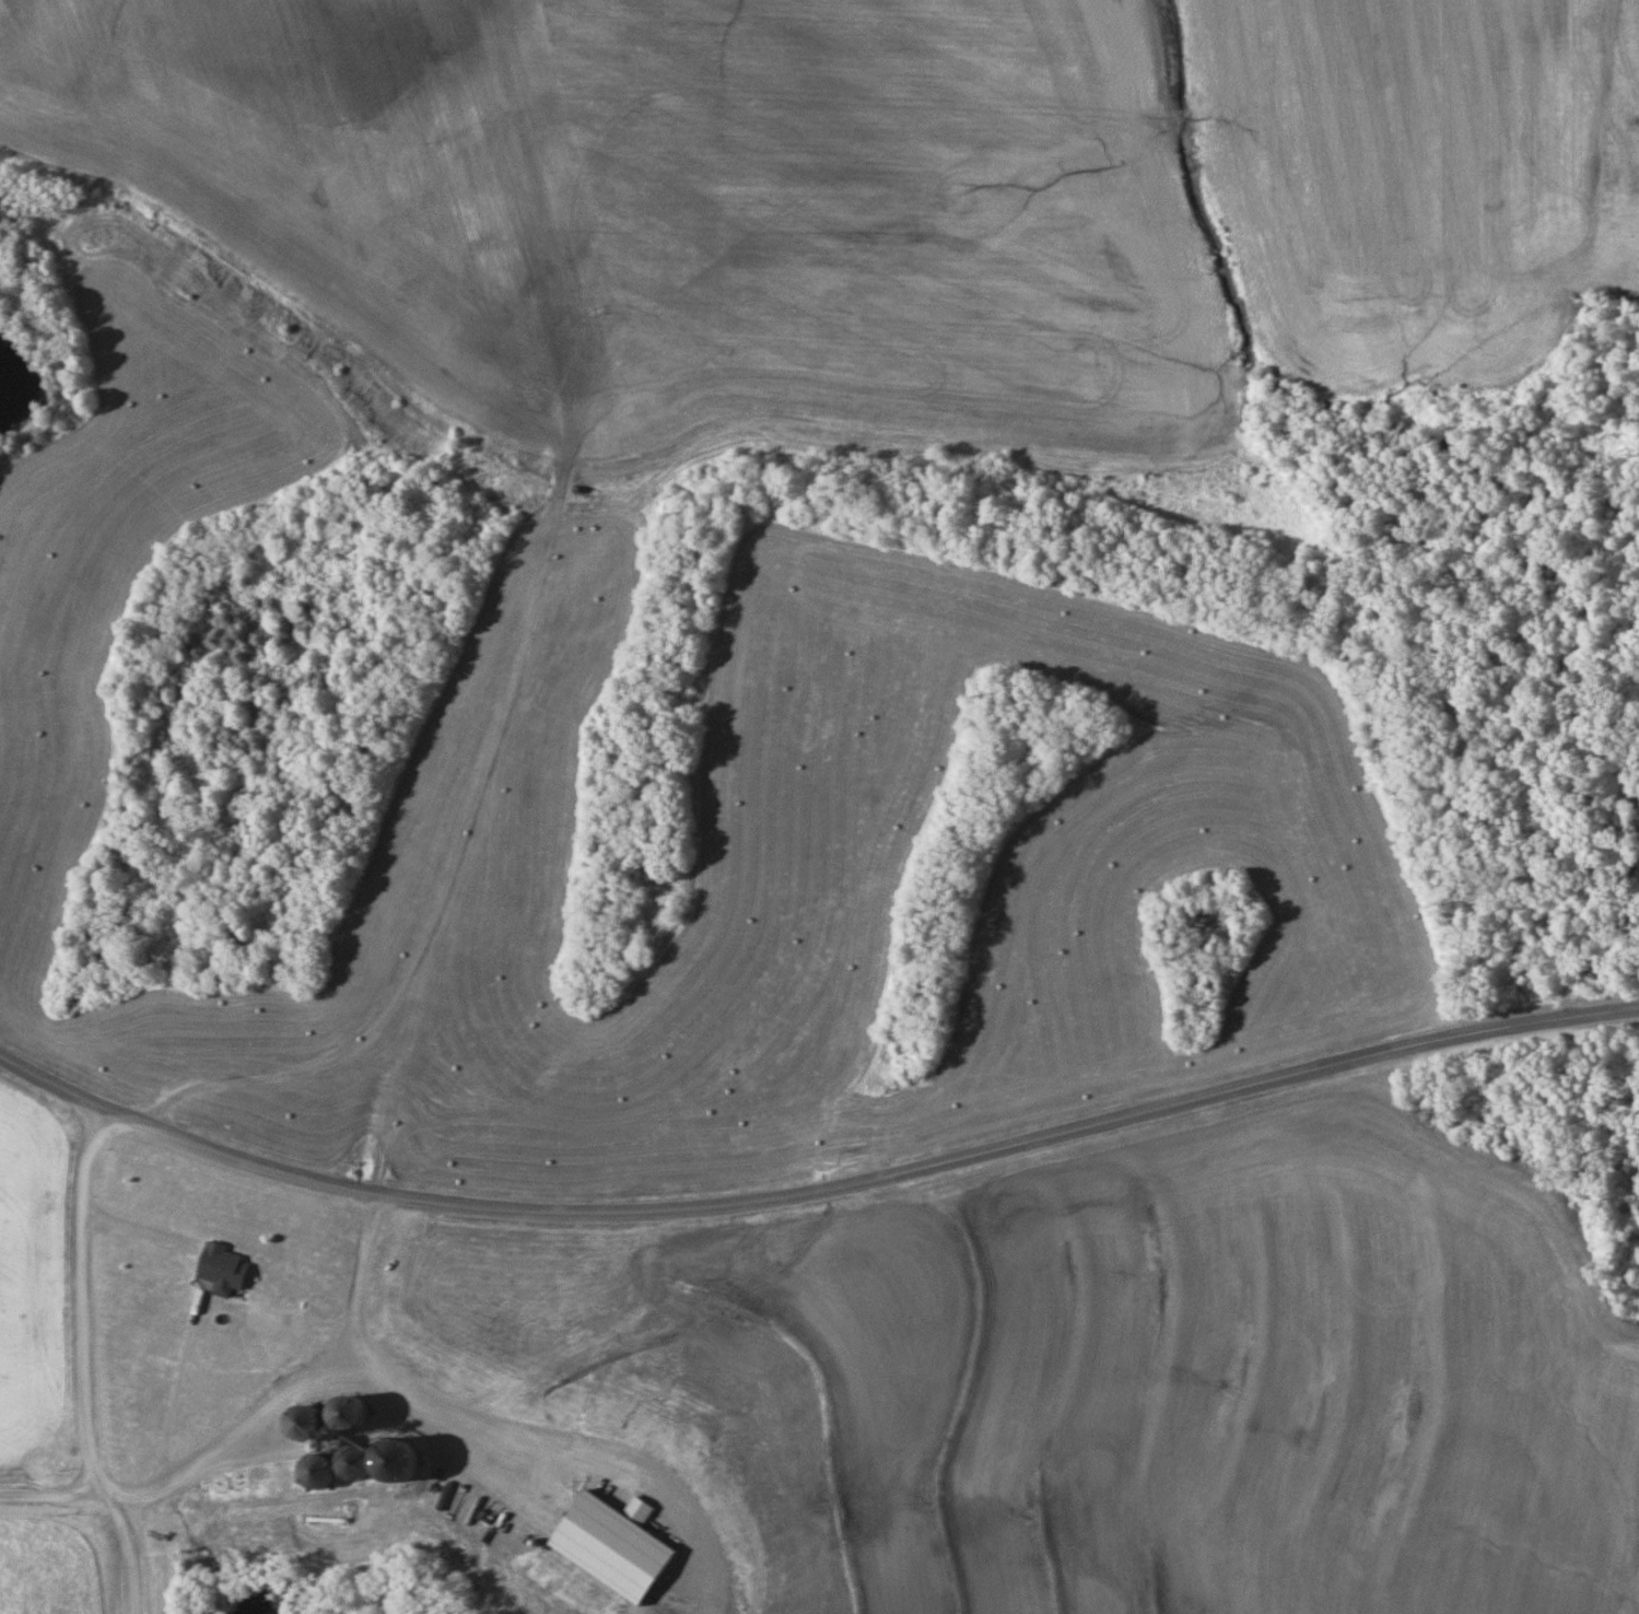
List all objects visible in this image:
road: (815, 1195)
building: (218, 1265)
road: (86, 1368)
road: (51, 1494)

